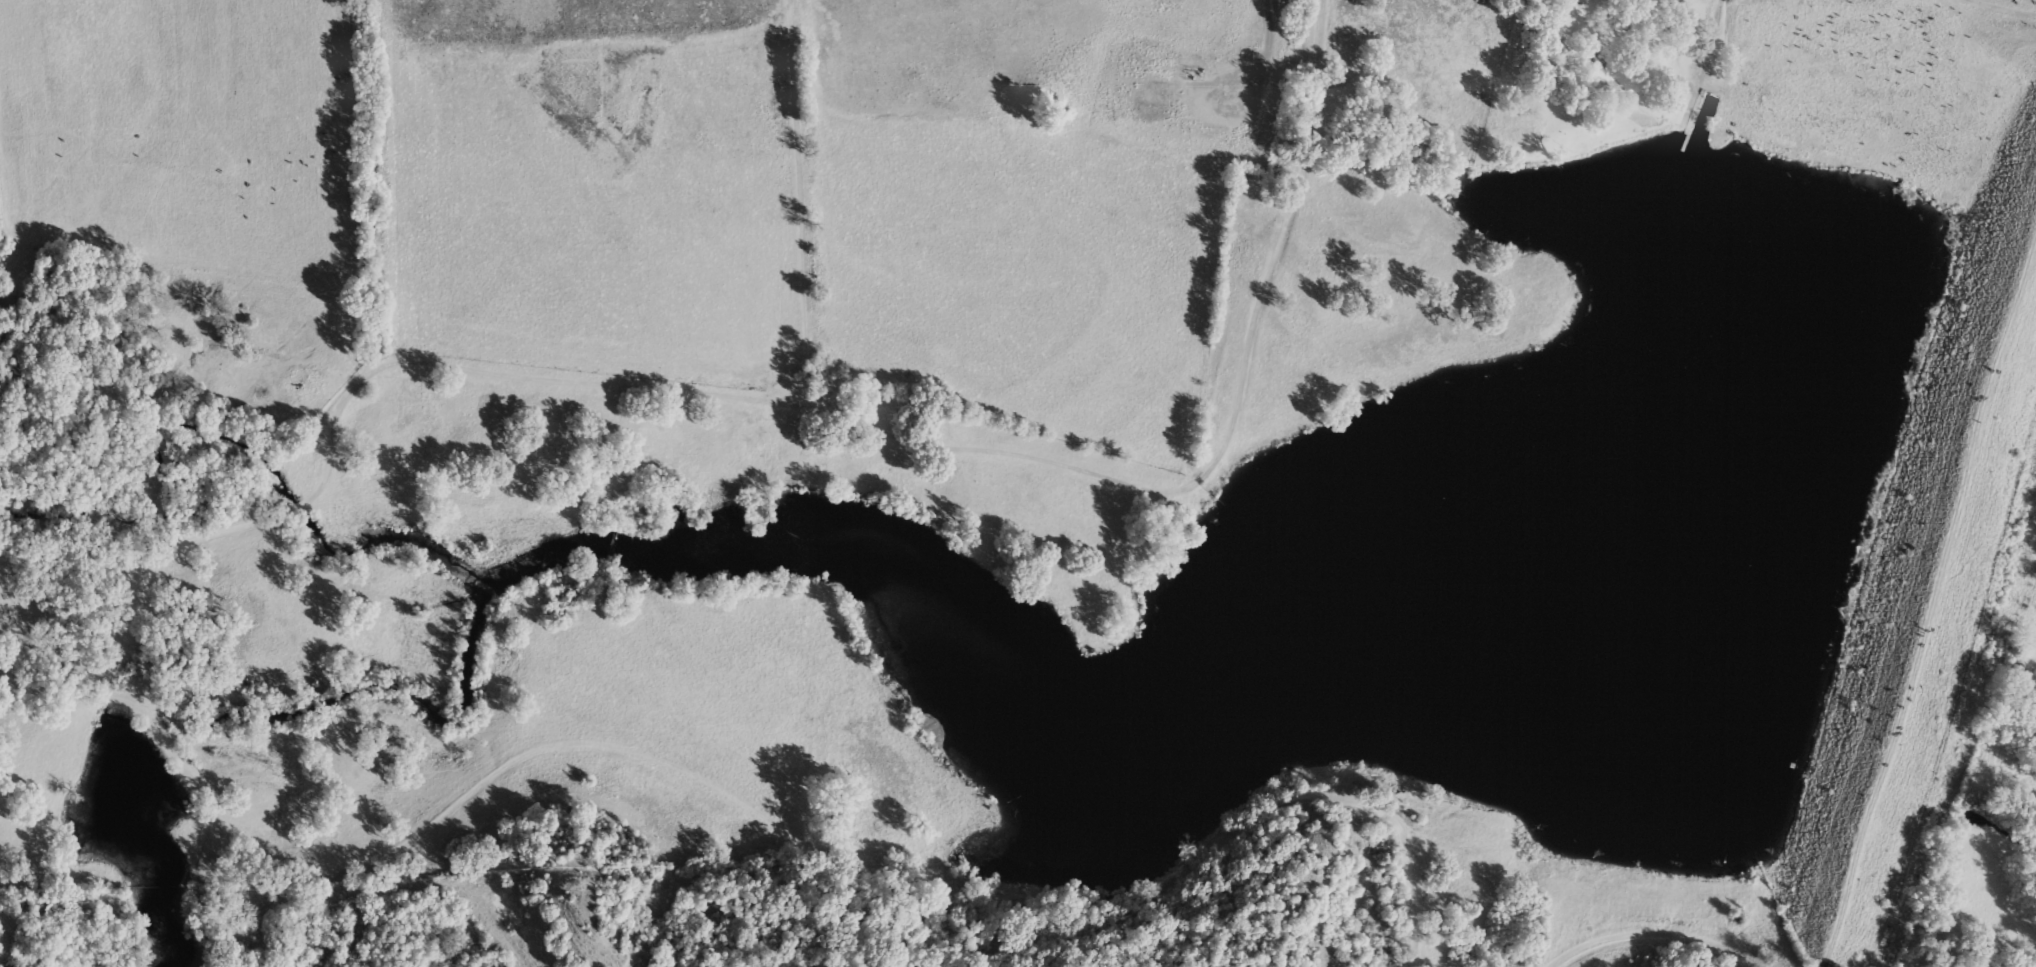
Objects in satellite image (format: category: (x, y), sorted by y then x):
road: (2000, 8)
road: (1521, 22)
road: (1988, 28)
road: (1710, 36)
building: (1708, 104)
road: (1027, 456)
road: (1927, 585)
road: (382, 854)
road: (1653, 933)
road: (2031, 962)

